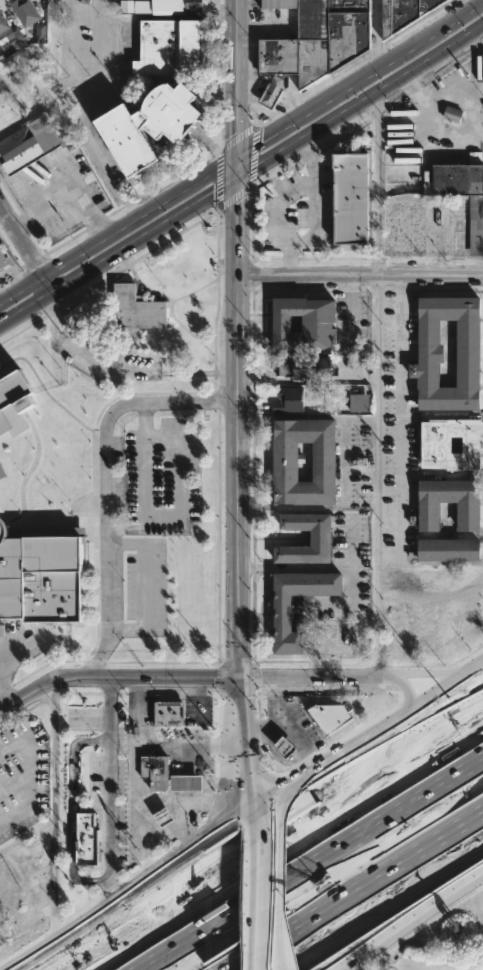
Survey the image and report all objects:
building: (175, 6)
building: (24, 11)
building: (403, 13)
building: (8, 30)
road: (375, 33)
building: (308, 42)
building: (168, 45)
road: (76, 51)
road: (99, 52)
road: (233, 91)
road: (359, 101)
building: (66, 109)
building: (452, 114)
building: (144, 123)
road: (429, 125)
building: (31, 142)
road: (240, 152)
traffic signals: (233, 157)
road: (104, 162)
traffic signals: (234, 182)
road: (376, 185)
road: (68, 190)
building: (457, 192)
building: (349, 195)
road: (281, 208)
road: (311, 214)
road: (29, 244)
road: (116, 253)
building: (2, 260)
road: (358, 275)
building: (135, 308)
park: (143, 318)
building: (301, 322)
building: (429, 352)
building: (303, 364)
road: (305, 379)
building: (289, 399)
building: (12, 400)
building: (358, 402)
road: (306, 417)
building: (449, 444)
building: (283, 461)
road: (107, 483)
road: (235, 504)
road: (164, 514)
building: (467, 517)
building: (319, 538)
road: (352, 544)
building: (446, 549)
road: (389, 561)
road: (308, 566)
building: (41, 578)
road: (145, 585)
building: (296, 604)
road: (376, 620)
road: (220, 679)
road: (139, 710)
building: (167, 713)
building: (327, 716)
road: (467, 722)
road: (286, 731)
road: (359, 744)
building: (285, 748)
gas station: (285, 748)
road: (28, 763)
road: (136, 765)
building: (154, 771)
road: (204, 771)
parking lot: (21, 777)
road: (261, 781)
building: (184, 784)
road: (372, 784)
road: (107, 791)
road: (285, 798)
road: (185, 801)
road: (57, 809)
building: (164, 817)
traffic signals: (235, 827)
road: (172, 829)
road: (190, 838)
road: (240, 838)
building: (86, 840)
road: (239, 841)
road: (229, 845)
road: (295, 854)
road: (244, 863)
road: (415, 877)
road: (277, 889)
road: (119, 899)
road: (246, 910)
road: (225, 917)
road: (406, 922)
road: (133, 931)
building: (1, 941)
road: (308, 945)
road: (280, 967)

